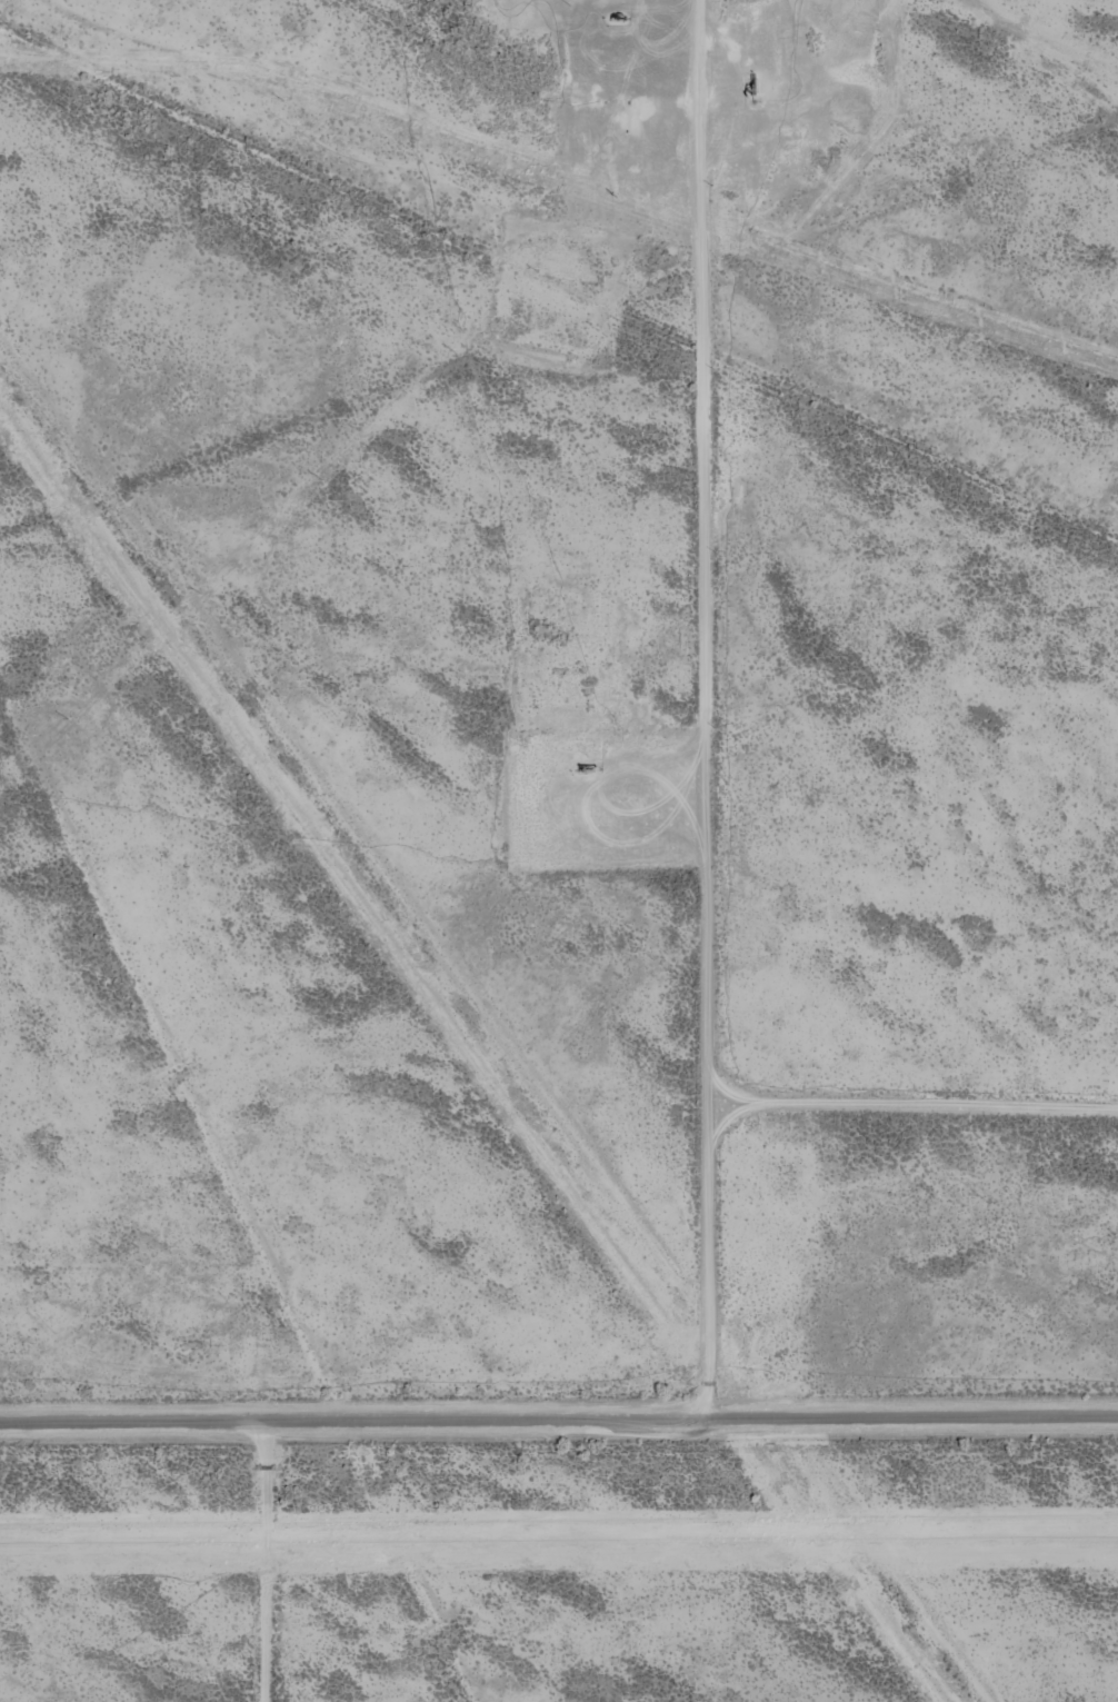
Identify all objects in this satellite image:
road: (689, 696)
road: (558, 1394)
road: (264, 1550)

